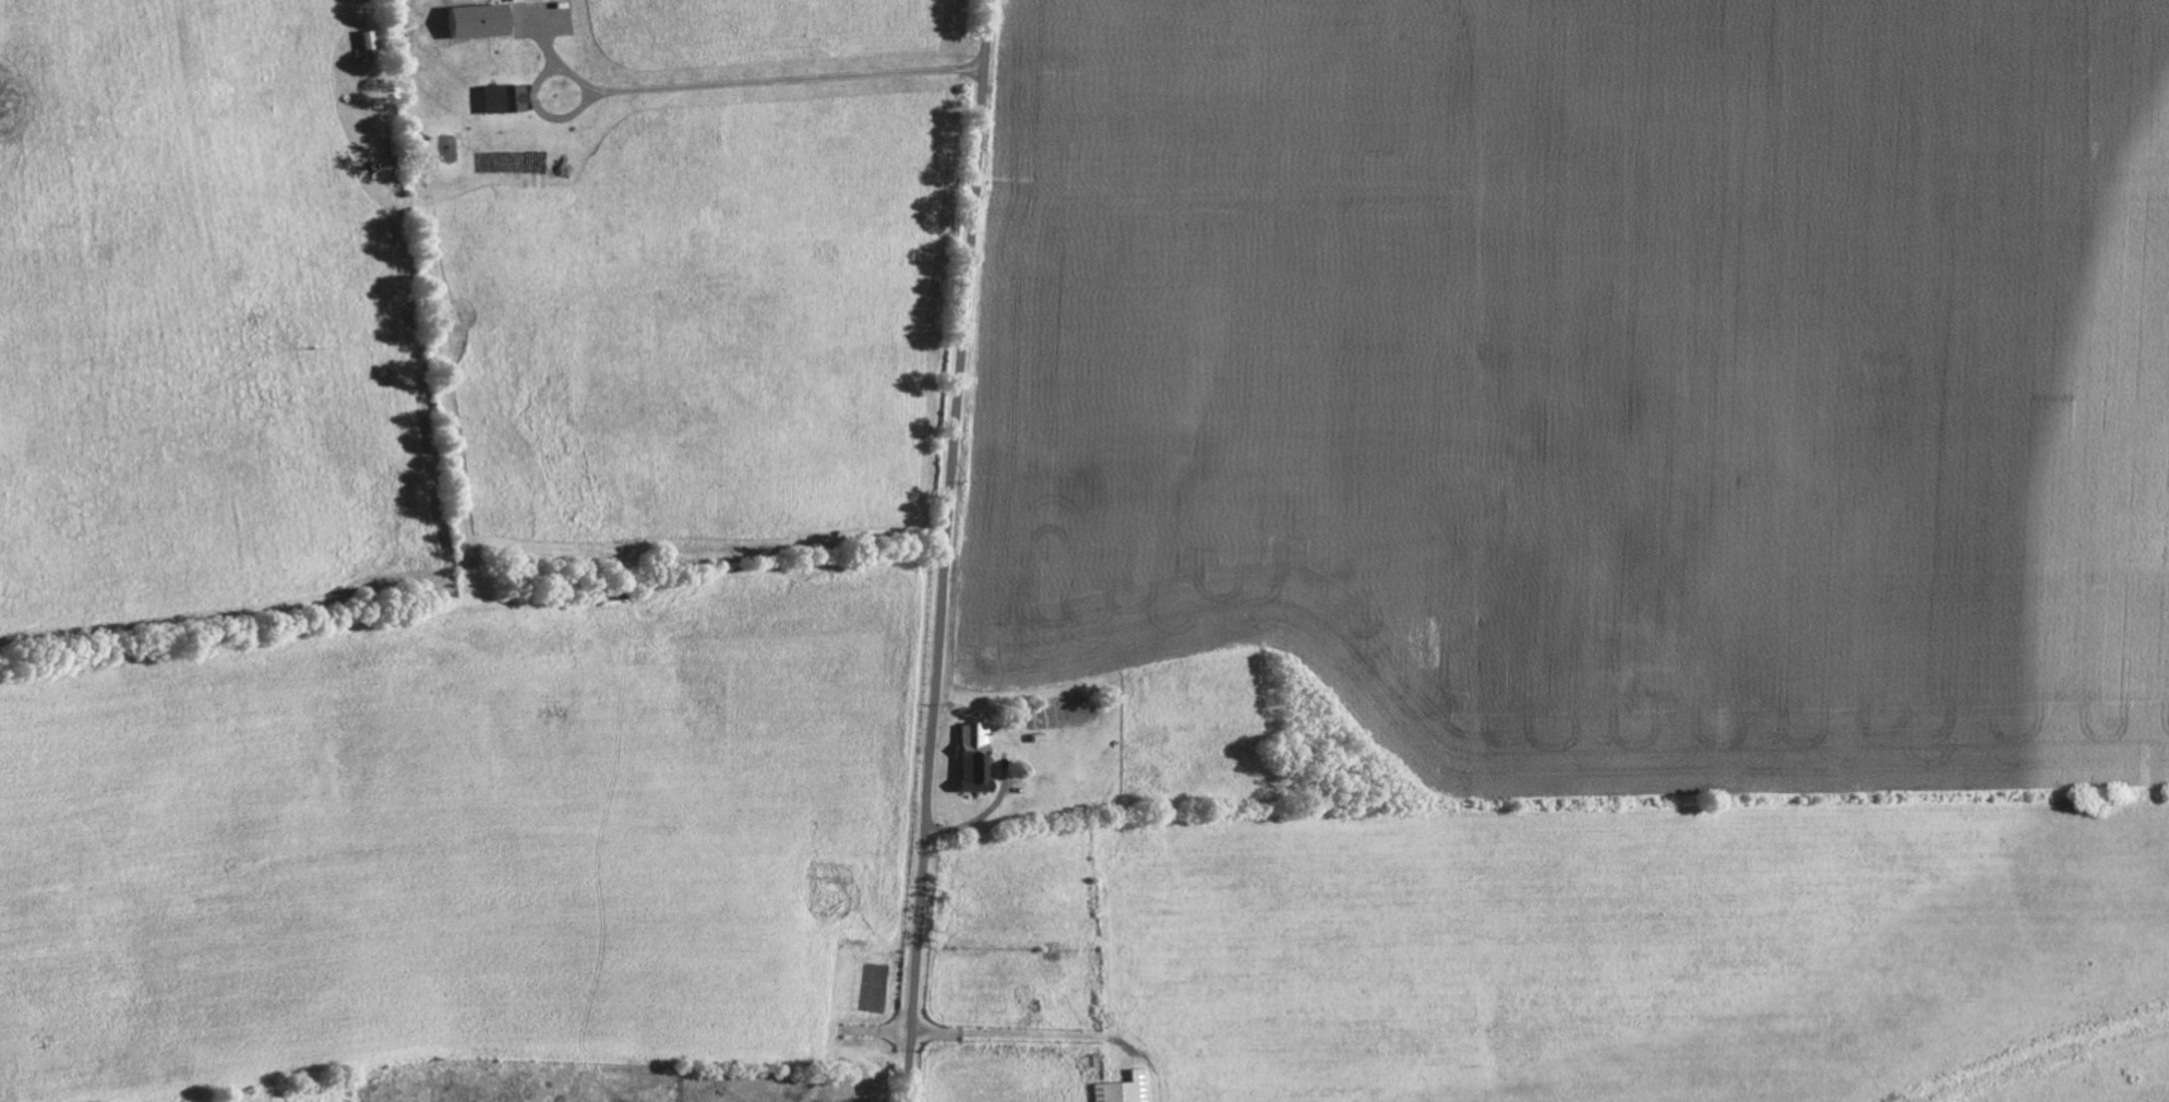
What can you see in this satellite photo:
building: (478, 21)
road: (554, 69)
road: (786, 77)
building: (504, 98)
road: (948, 550)
building: (975, 758)
building: (1125, 1090)

